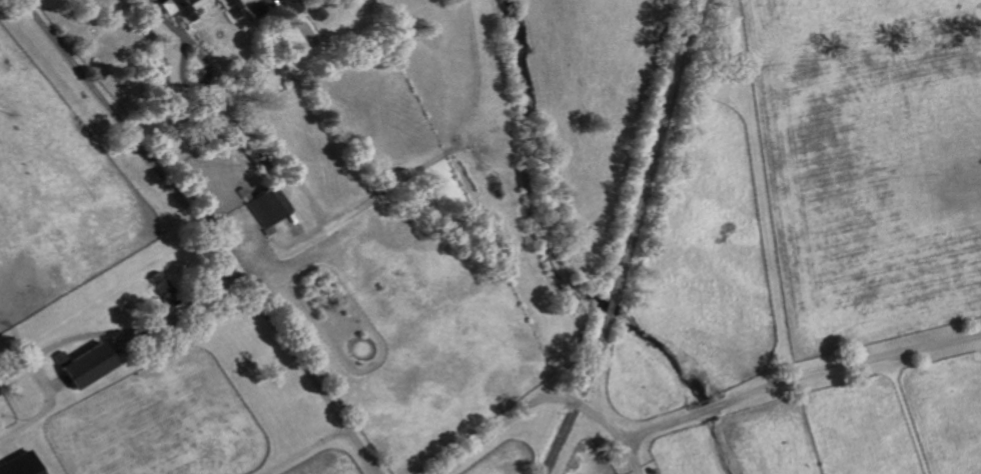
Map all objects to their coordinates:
building: (179, 6)
building: (292, 6)
building: (230, 7)
road: (197, 56)
railway: (638, 202)
building: (268, 207)
road: (196, 234)
road: (116, 331)
building: (88, 366)
road: (797, 377)
road: (500, 424)
road: (613, 432)
railway: (557, 438)
building: (20, 465)

